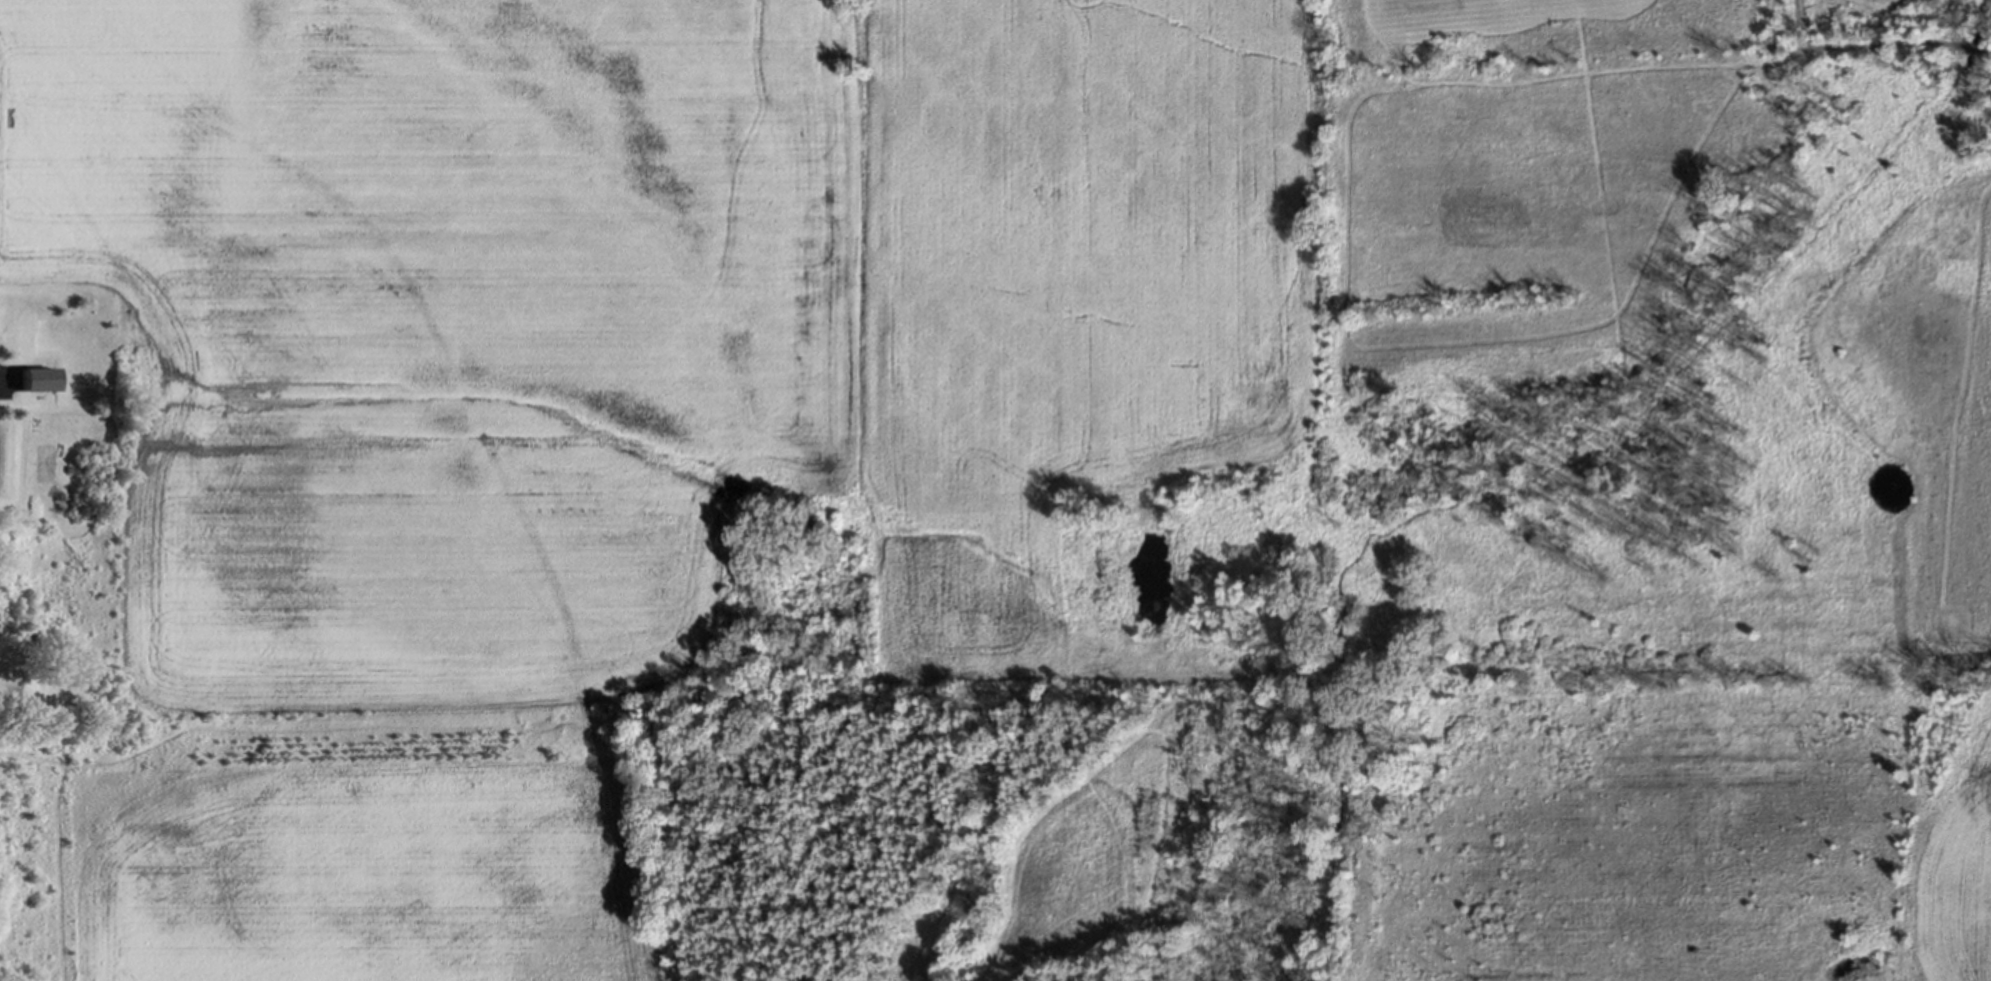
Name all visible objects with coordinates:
road: (2, 378)
building: (33, 379)

